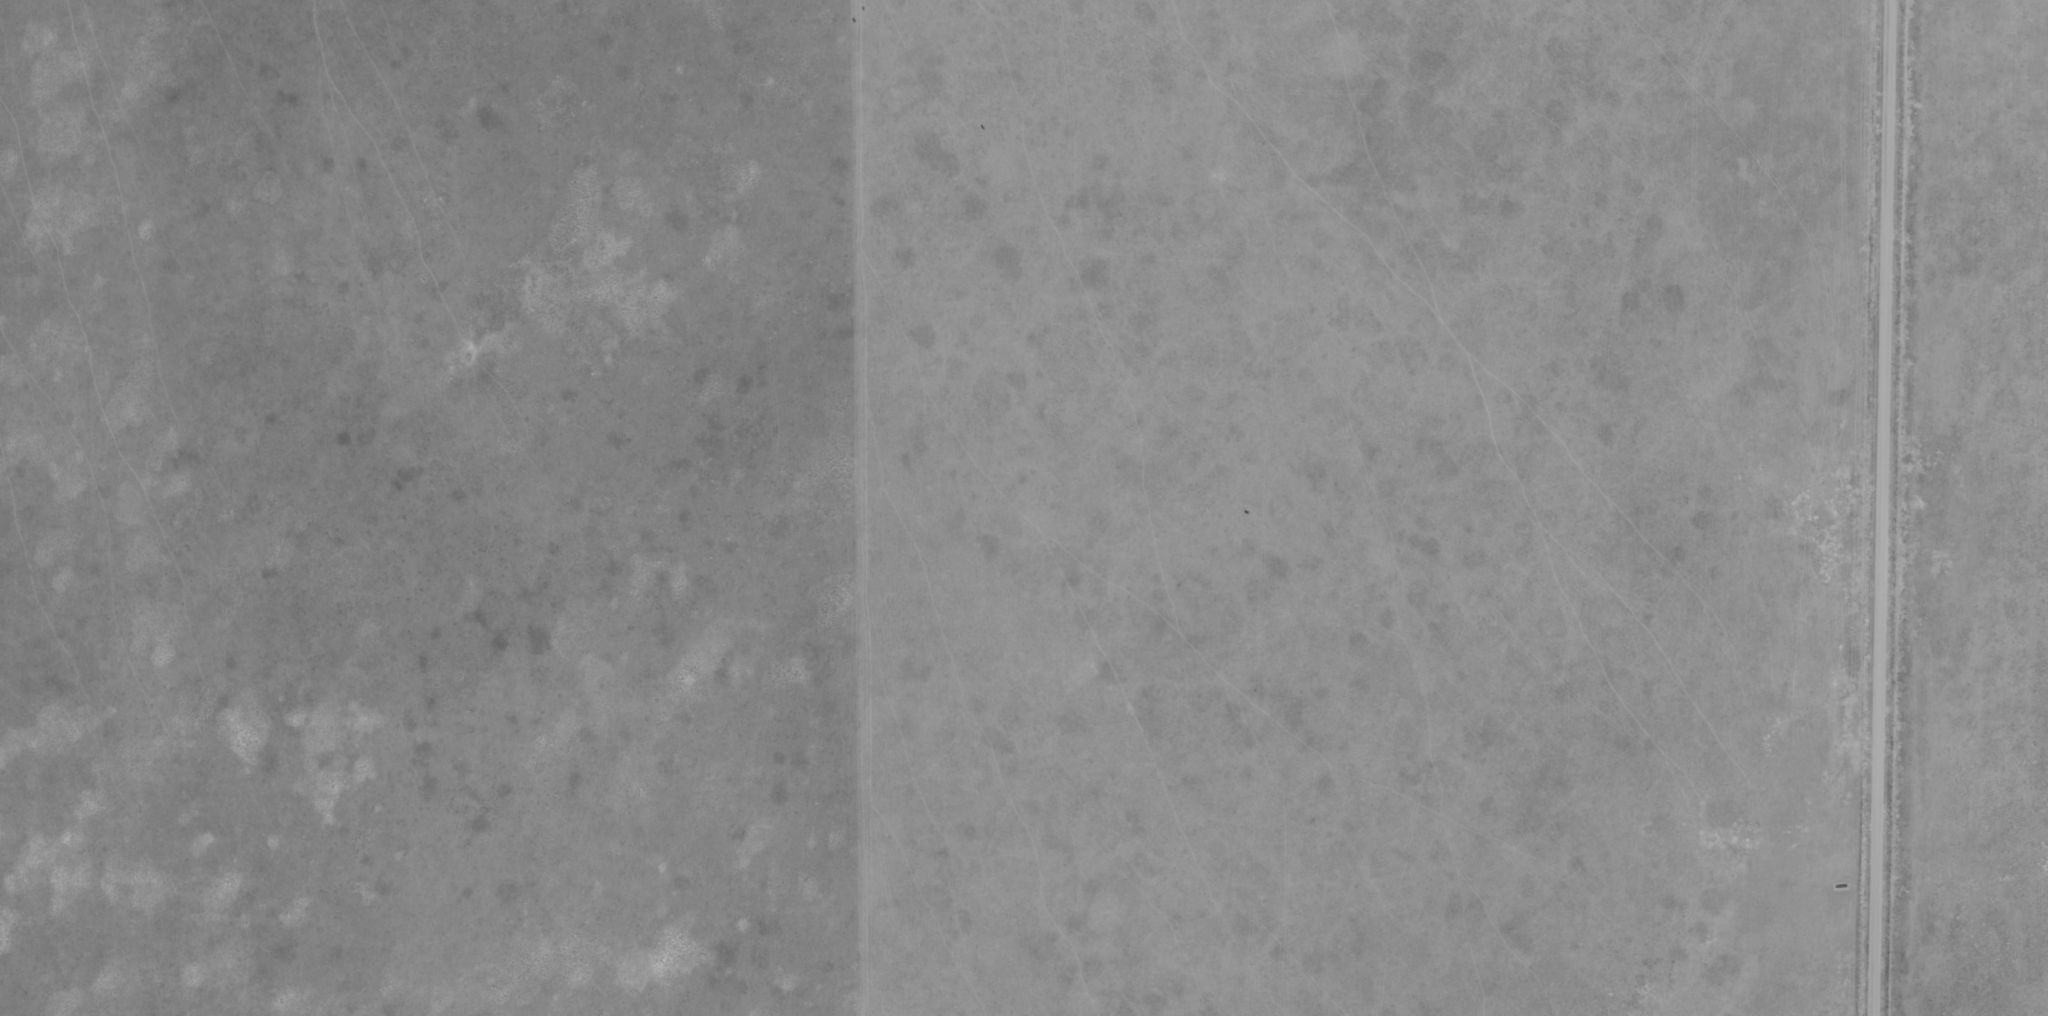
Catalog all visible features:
road: (1884, 508)

